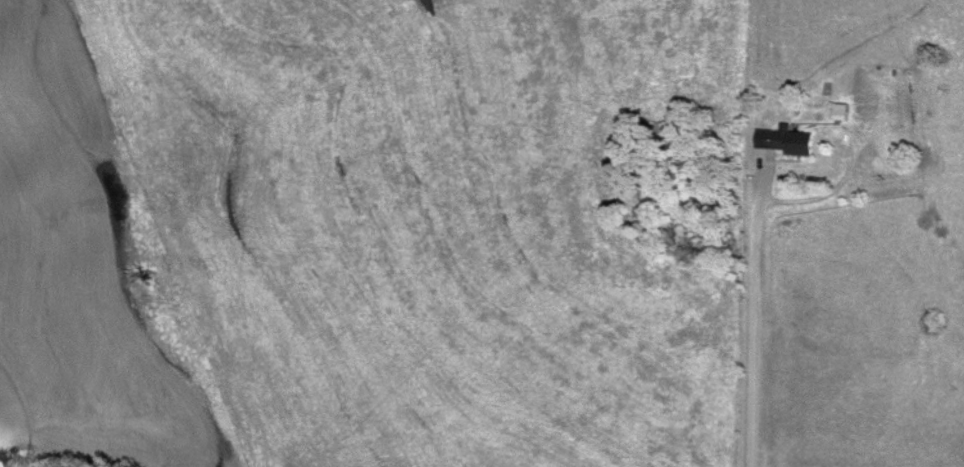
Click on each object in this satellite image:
building: (840, 113)
building: (790, 142)
road: (750, 322)

